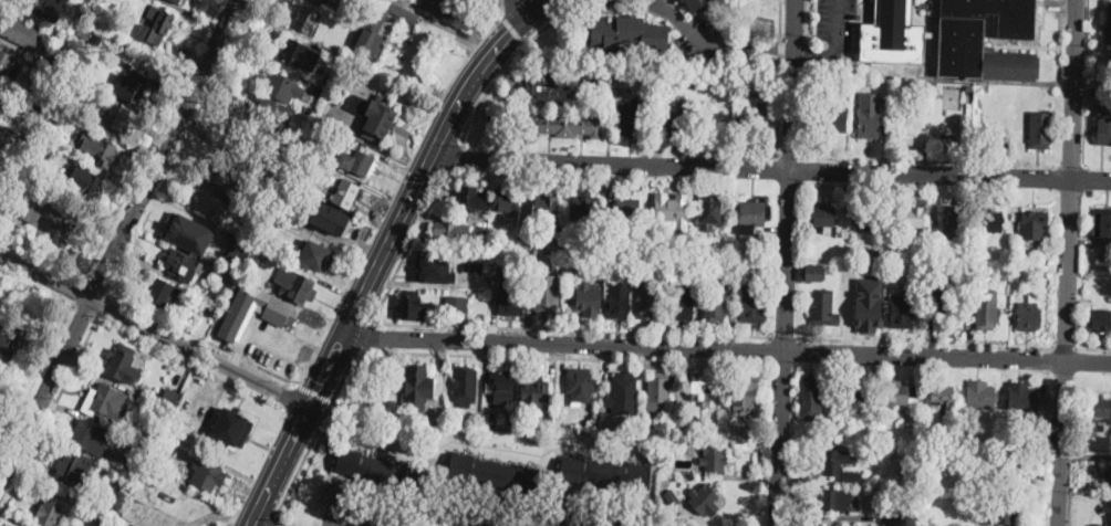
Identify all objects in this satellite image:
building: (319, 0)
building: (336, 0)
building: (176, 1)
building: (324, 1)
building: (695, 3)
building: (39, 4)
road: (527, 6)
building: (438, 8)
road: (500, 8)
building: (84, 9)
building: (125, 17)
building: (307, 18)
road: (809, 20)
parking lot: (838, 23)
building: (1109, 23)
building: (380, 24)
building: (155, 25)
road: (511, 29)
building: (19, 30)
building: (630, 32)
building: (953, 38)
road: (526, 42)
road: (716, 43)
road: (834, 46)
building: (293, 52)
building: (62, 53)
road: (809, 53)
road: (511, 62)
building: (8, 66)
building: (343, 67)
road: (779, 76)
building: (603, 78)
building: (650, 78)
building: (328, 80)
building: (53, 81)
building: (685, 81)
building: (280, 86)
building: (131, 88)
building: (546, 88)
building: (970, 88)
building: (1, 92)
building: (1097, 92)
building: (3, 102)
road: (807, 109)
building: (310, 111)
building: (272, 114)
building: (52, 115)
building: (373, 115)
building: (870, 116)
building: (830, 118)
building: (122, 119)
building: (626, 119)
building: (754, 122)
building: (672, 123)
building: (318, 125)
building: (565, 125)
building: (645, 129)
building: (1040, 129)
building: (1103, 131)
building: (907, 138)
road: (153, 139)
building: (94, 143)
road: (181, 145)
road: (164, 149)
building: (43, 151)
road: (789, 154)
road: (453, 155)
road: (908, 157)
building: (355, 161)
building: (324, 167)
road: (771, 168)
building: (279, 172)
building: (224, 175)
building: (85, 180)
building: (272, 183)
building: (345, 193)
building: (271, 197)
building: (471, 197)
building: (505, 199)
building: (208, 204)
building: (629, 207)
building: (585, 208)
building: (546, 209)
building: (707, 211)
building: (671, 214)
building: (822, 214)
building: (864, 214)
building: (329, 217)
building: (754, 217)
building: (912, 217)
building: (42, 218)
building: (988, 219)
building: (273, 220)
building: (956, 220)
building: (1035, 223)
building: (1104, 224)
building: (451, 233)
building: (190, 234)
building: (507, 235)
road: (408, 243)
building: (530, 243)
building: (237, 246)
building: (559, 246)
road: (384, 250)
building: (594, 252)
building: (693, 252)
building: (685, 253)
building: (258, 254)
building: (314, 255)
road: (42, 256)
building: (880, 257)
road: (787, 262)
road: (1069, 262)
building: (572, 263)
building: (678, 263)
building: (666, 264)
building: (181, 265)
building: (635, 265)
building: (727, 266)
building: (436, 270)
building: (752, 271)
building: (812, 273)
building: (933, 273)
building: (975, 275)
road: (44, 278)
building: (227, 278)
building: (922, 278)
building: (1016, 280)
road: (97, 284)
building: (294, 285)
road: (37, 286)
road: (79, 291)
building: (163, 294)
building: (512, 294)
building: (547, 294)
building: (589, 298)
building: (619, 299)
road: (105, 301)
building: (650, 301)
building: (682, 301)
building: (716, 303)
building: (868, 303)
building: (456, 304)
building: (1086, 304)
building: (752, 306)
building: (412, 307)
building: (823, 307)
building: (943, 307)
road: (82, 308)
building: (210, 309)
building: (902, 309)
building: (986, 311)
building: (279, 312)
building: (1029, 316)
building: (1099, 319)
road: (571, 327)
road: (365, 333)
road: (777, 335)
building: (11, 336)
road: (203, 338)
road: (272, 338)
road: (945, 340)
parking lot: (274, 345)
road: (1061, 345)
road: (1092, 346)
road: (727, 349)
road: (199, 354)
road: (502, 354)
road: (239, 358)
road: (319, 360)
road: (189, 361)
building: (122, 364)
road: (37, 380)
building: (503, 380)
building: (465, 385)
building: (580, 385)
building: (416, 388)
building: (660, 388)
building: (702, 388)
road: (314, 391)
building: (533, 392)
building: (810, 392)
road: (44, 393)
building: (624, 393)
building: (744, 393)
building: (897, 393)
building: (982, 394)
building: (854, 396)
building: (1022, 396)
building: (942, 397)
road: (290, 398)
building: (106, 402)
building: (166, 404)
building: (1100, 408)
road: (49, 412)
road: (302, 419)
building: (487, 421)
building: (549, 421)
building: (913, 421)
building: (393, 422)
building: (507, 427)
building: (629, 428)
building: (230, 429)
building: (677, 429)
road: (316, 430)
building: (832, 433)
building: (91, 438)
building: (692, 450)
building: (133, 454)
building: (157, 457)
building: (713, 459)
building: (832, 462)
building: (75, 470)
building: (380, 470)
building: (905, 470)
building: (492, 474)
building: (606, 474)
building: (1011, 474)
building: (207, 475)
building: (1108, 477)
building: (703, 497)
building: (672, 498)
building: (837, 499)
building: (134, 509)
building: (1108, 511)
building: (114, 512)
building: (48, 513)
building: (1000, 513)
parking lot: (418, 515)
building: (893, 515)
road: (333, 519)
road: (365, 519)
road: (272, 520)
road: (459, 520)
building: (102, 524)
road: (250, 524)
road: (257, 524)

